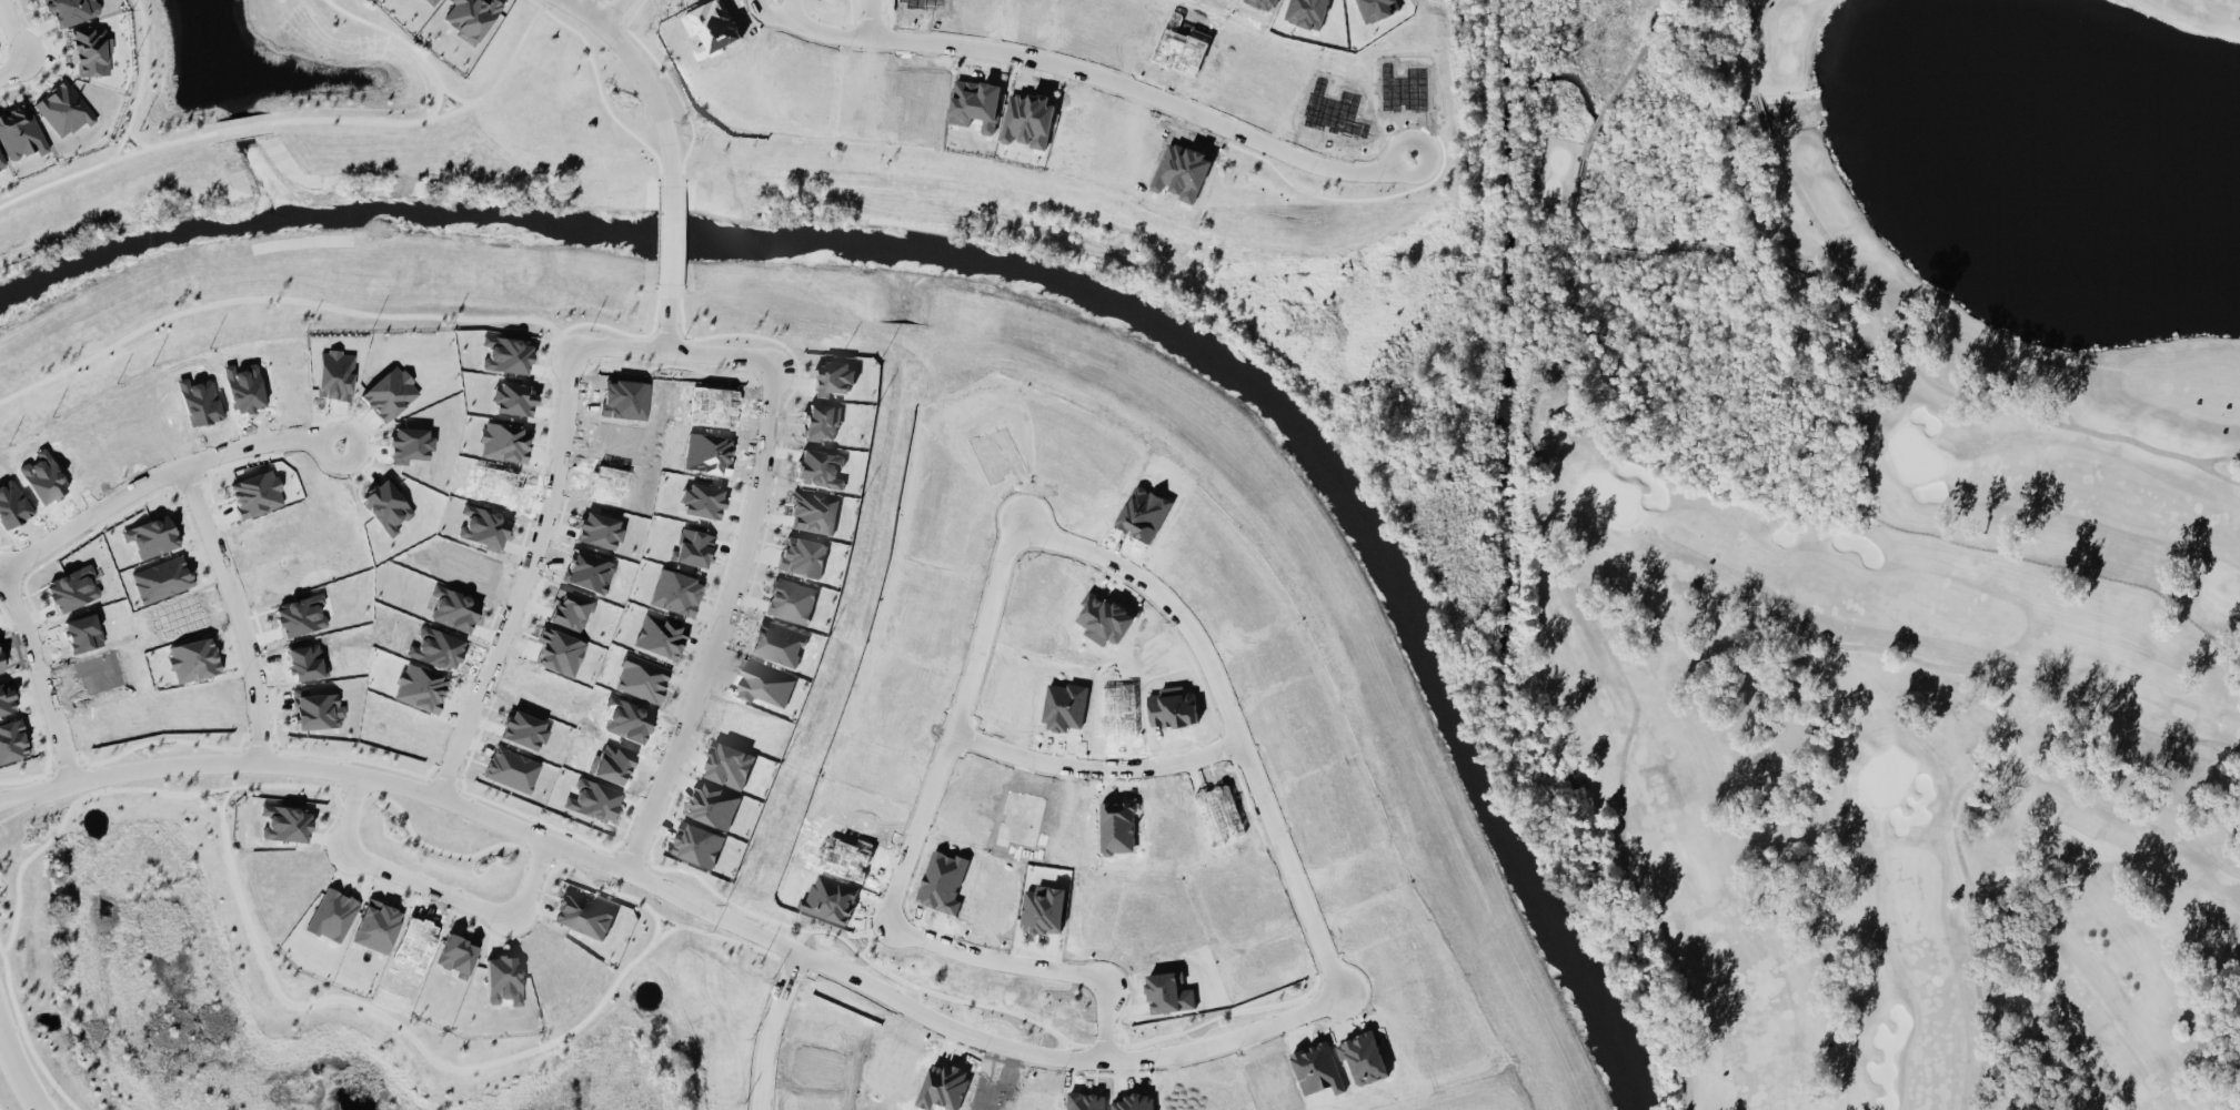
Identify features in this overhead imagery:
building: (430, 1)
road: (790, 8)
building: (1377, 9)
building: (70, 10)
road: (585, 10)
road: (610, 10)
road: (769, 16)
building: (469, 18)
road: (870, 18)
building: (90, 50)
road: (11, 51)
road: (1106, 78)
road: (651, 93)
road: (436, 107)
building: (62, 109)
road: (131, 112)
road: (245, 127)
building: (20, 132)
road: (669, 235)
river: (1052, 274)
road: (284, 297)
road: (665, 321)
road: (672, 352)
building: (389, 393)
building: (512, 397)
building: (503, 441)
road: (160, 475)
building: (701, 500)
building: (597, 528)
park: (1859, 536)
building: (161, 578)
road: (524, 581)
building: (70, 588)
building: (674, 591)
building: (569, 609)
road: (238, 610)
road: (722, 627)
building: (659, 635)
building: (192, 658)
road: (40, 677)
building: (641, 677)
building: (764, 684)
road: (1218, 688)
building: (6, 699)
building: (318, 710)
building: (727, 764)
building: (511, 768)
road: (1095, 771)
road: (371, 778)
road: (127, 788)
road: (225, 796)
road: (210, 797)
road: (6, 800)
road: (6, 804)
building: (712, 804)
building: (285, 823)
building: (697, 842)
road: (516, 845)
road: (431, 888)
building: (584, 914)
building: (335, 915)
building: (375, 925)
road: (656, 927)
building: (456, 952)
building: (502, 978)
road: (770, 1030)
road: (408, 1031)
road: (26, 1035)
road: (18, 1070)

